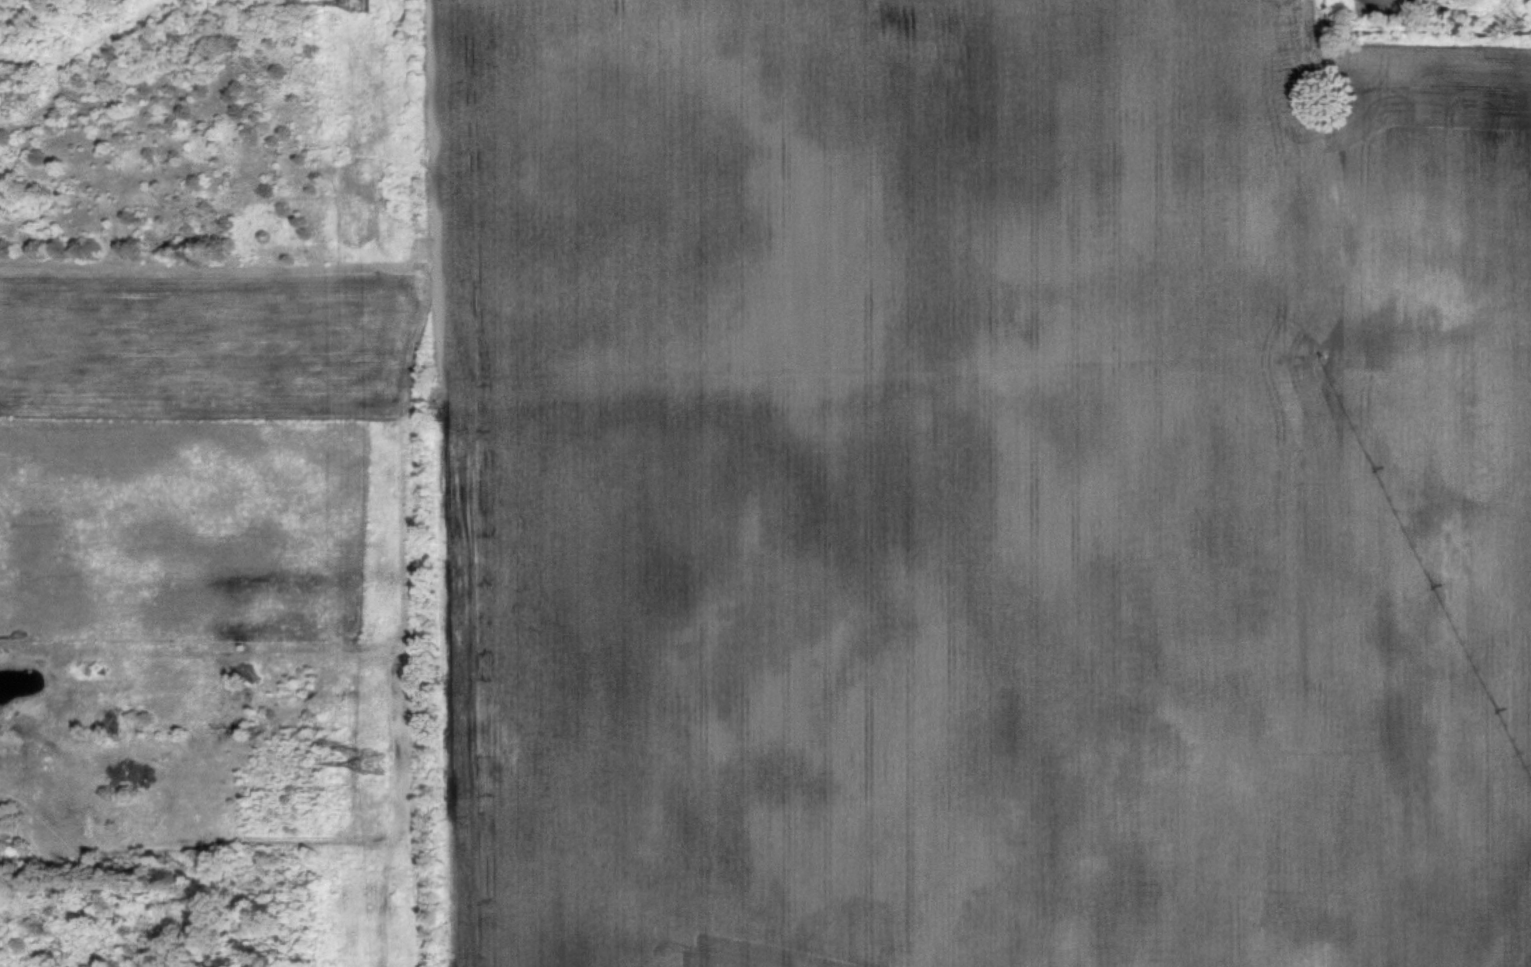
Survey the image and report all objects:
power tower: (381, 762)

